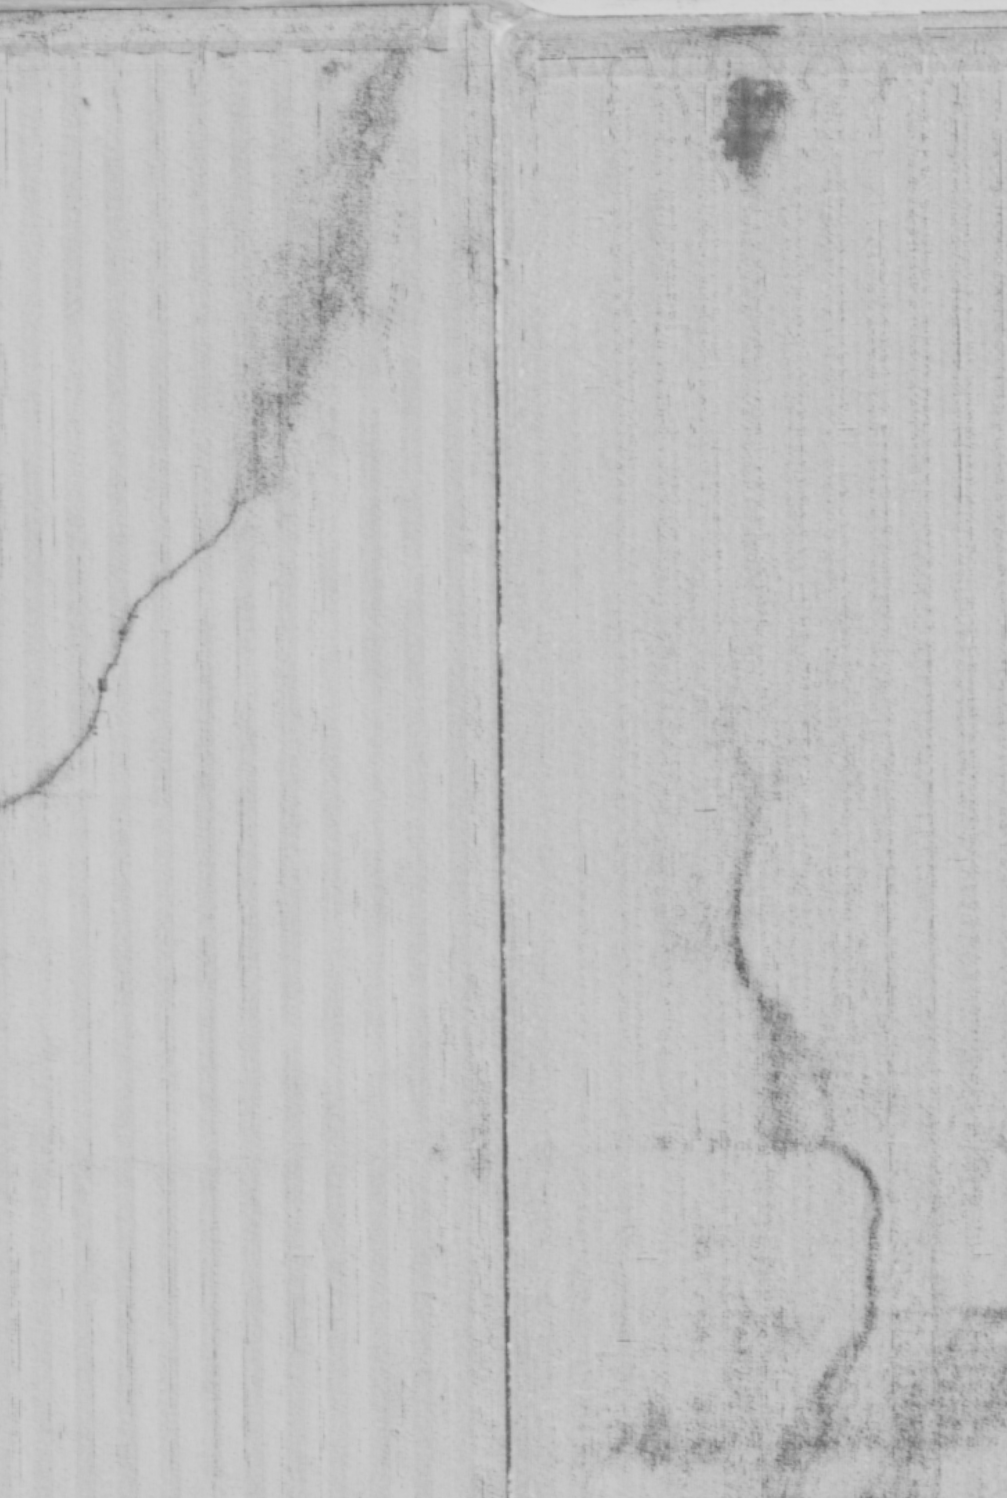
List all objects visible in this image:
building: (809, 297)

